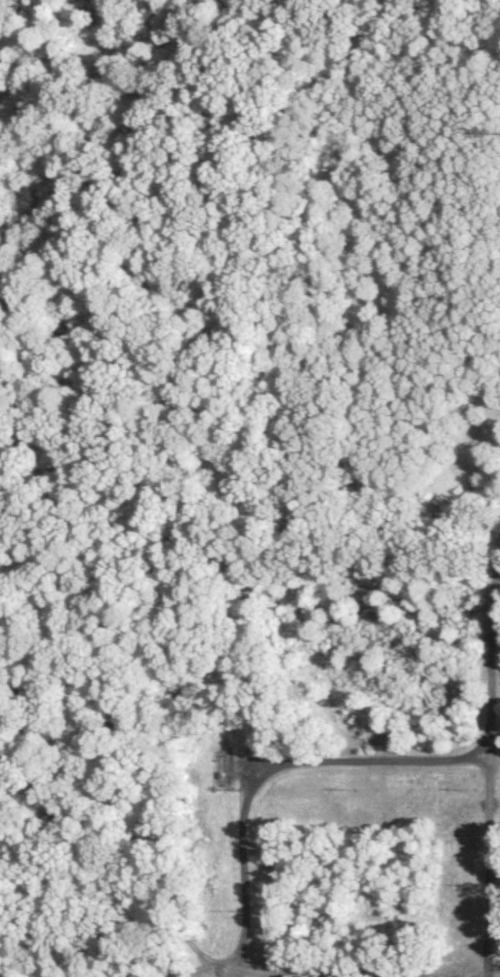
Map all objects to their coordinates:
road: (492, 761)
road: (280, 769)
road: (314, 973)

